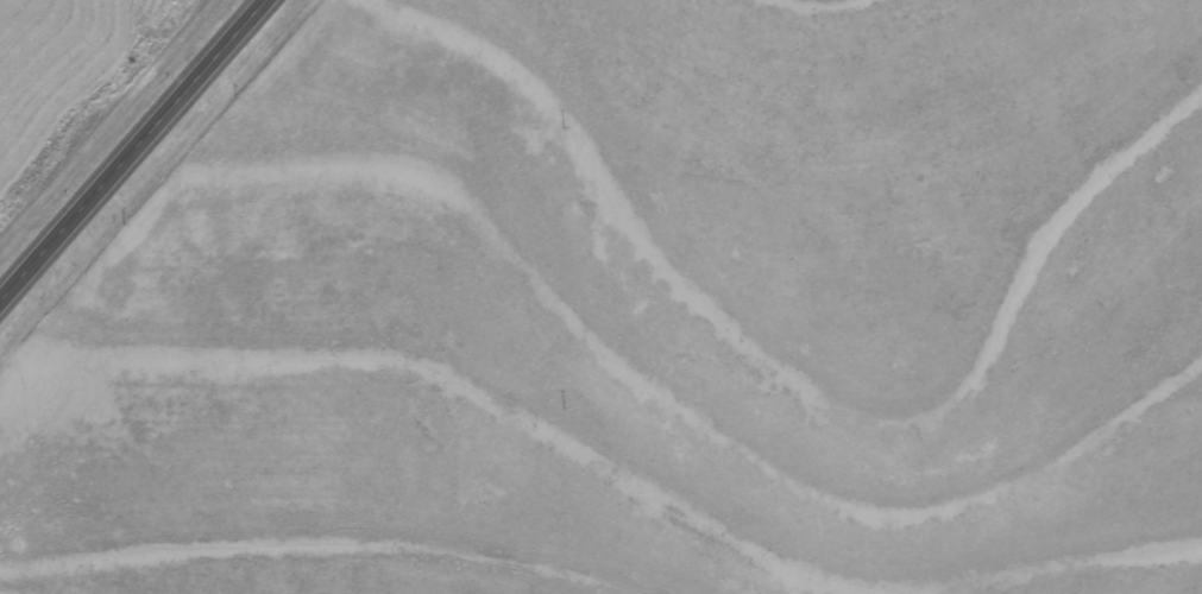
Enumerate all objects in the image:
road: (136, 152)

